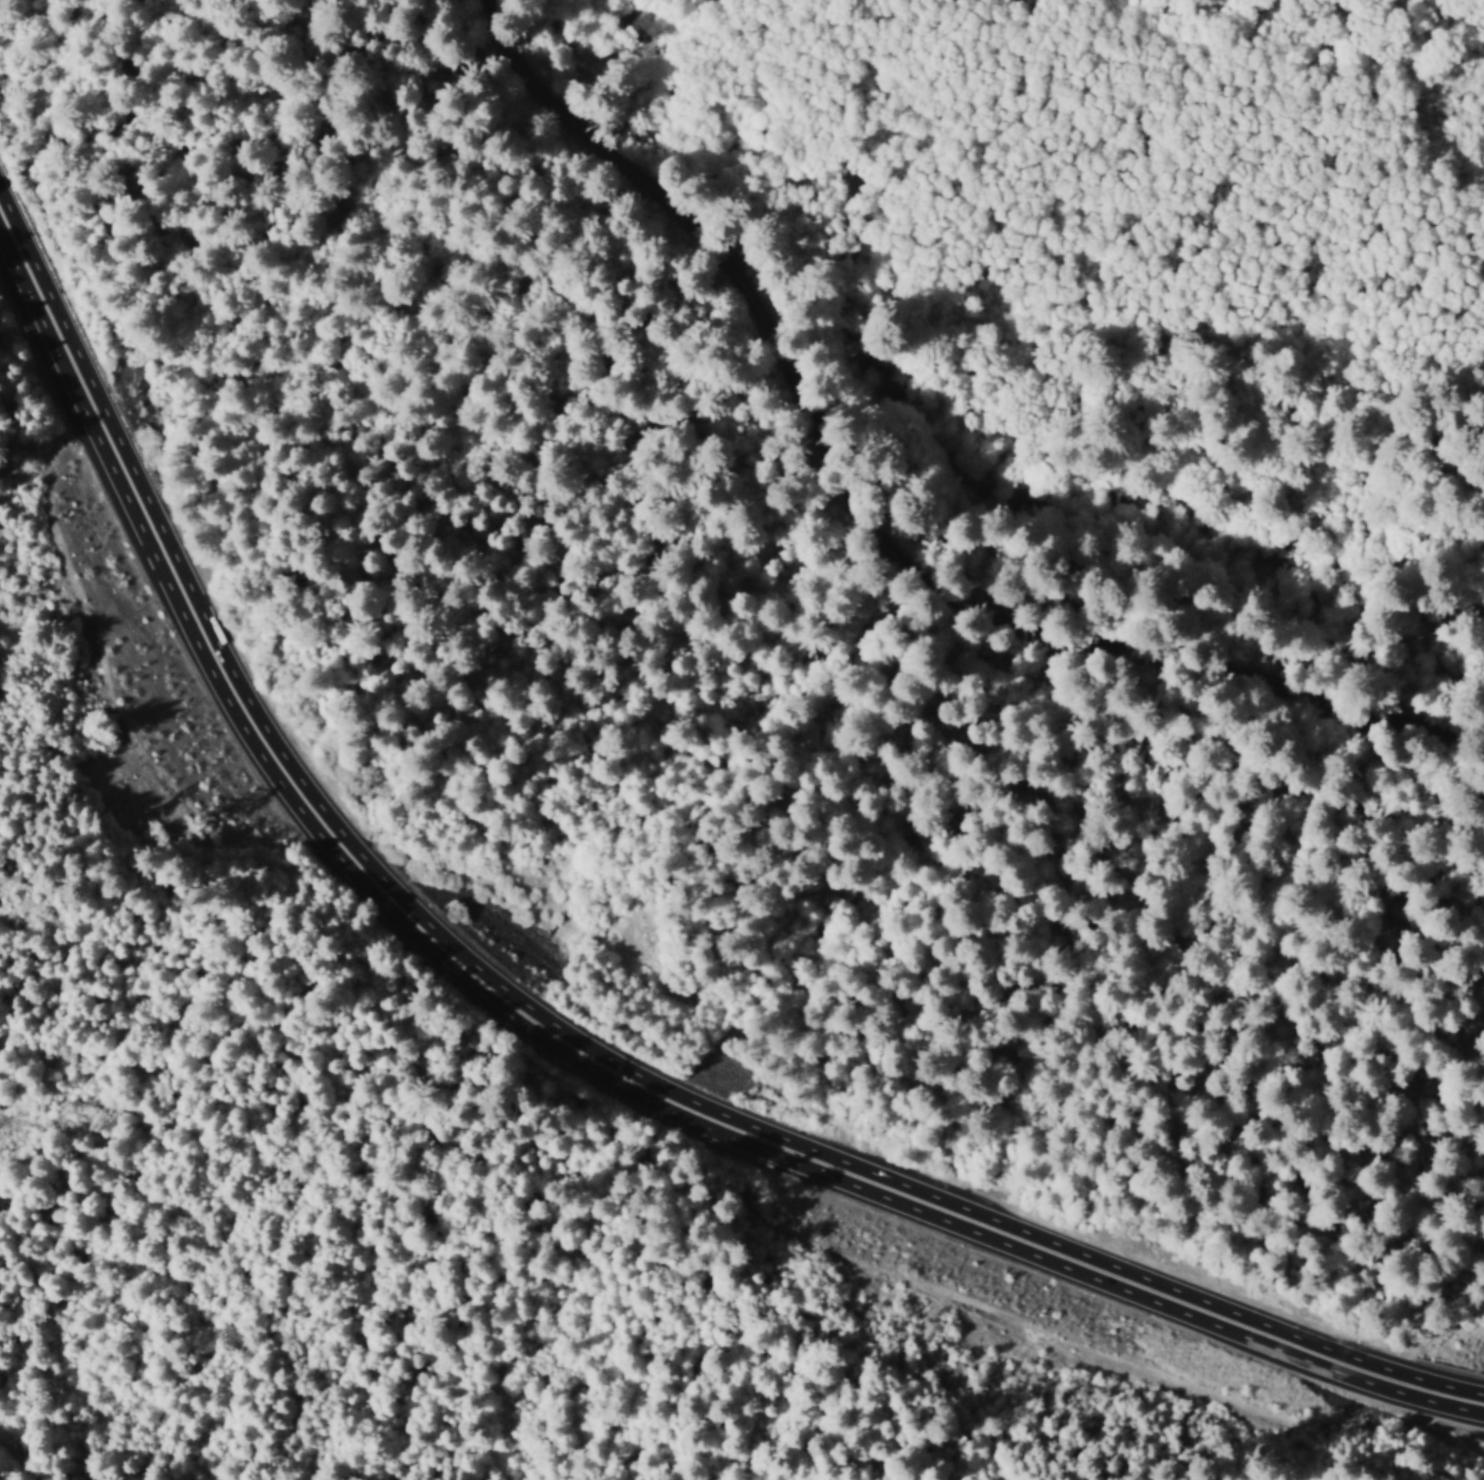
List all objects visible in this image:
road: (870, 527)
road: (552, 1038)
road: (29, 1465)

